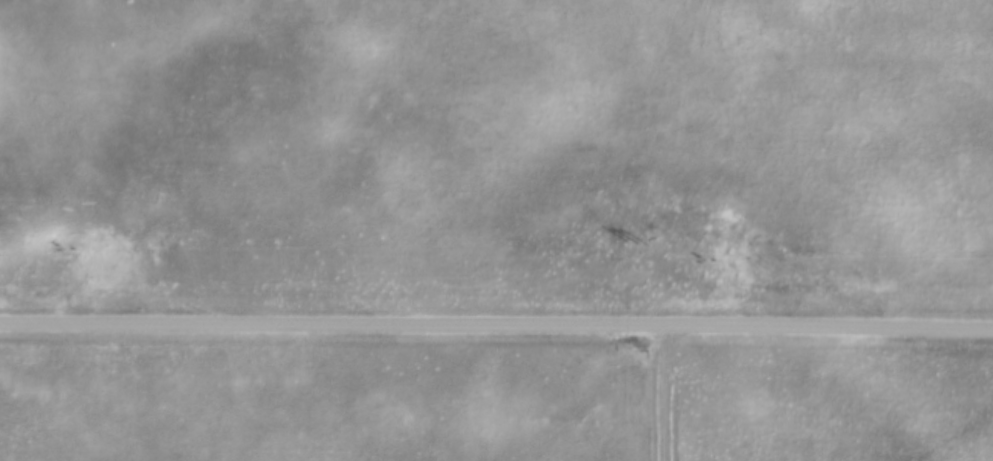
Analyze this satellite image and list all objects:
road: (496, 320)
road: (659, 390)

